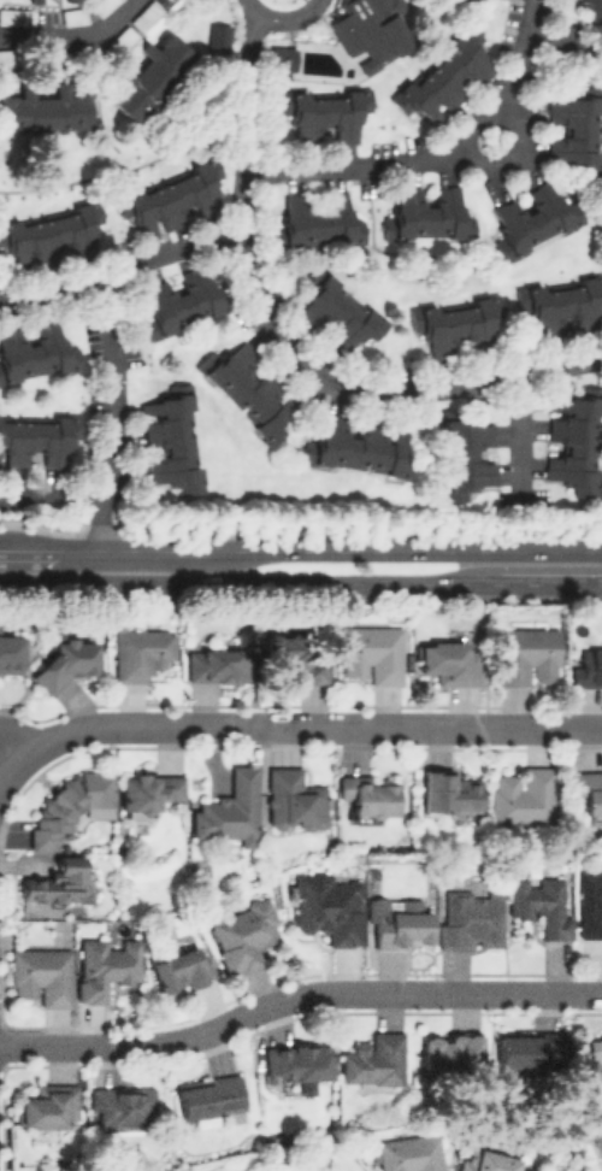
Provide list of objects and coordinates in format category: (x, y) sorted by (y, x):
building: (33, 1)
building: (100, 5)
building: (594, 10)
building: (72, 14)
building: (144, 14)
building: (14, 16)
road: (281, 17)
building: (370, 29)
road: (72, 36)
building: (120, 39)
road: (555, 46)
building: (4, 57)
building: (281, 57)
road: (515, 57)
building: (153, 75)
building: (442, 83)
building: (45, 110)
building: (324, 114)
road: (514, 126)
building: (573, 131)
road: (353, 165)
building: (171, 198)
building: (426, 214)
building: (530, 217)
building: (318, 219)
building: (49, 235)
road: (122, 265)
building: (181, 300)
building: (561, 305)
building: (337, 316)
building: (458, 325)
road: (279, 342)
building: (36, 352)
building: (250, 390)
road: (112, 410)
building: (37, 439)
building: (170, 439)
building: (576, 439)
building: (358, 445)
building: (467, 455)
road: (51, 494)
road: (300, 549)
road: (301, 581)
building: (141, 651)
building: (371, 652)
building: (8, 653)
building: (526, 655)
building: (297, 658)
building: (448, 661)
building: (64, 663)
building: (218, 664)
building: (588, 667)
road: (302, 726)
road: (5, 767)
building: (588, 789)
building: (148, 790)
building: (451, 793)
building: (367, 795)
building: (521, 795)
building: (293, 800)
building: (70, 805)
building: (229, 810)
building: (59, 882)
building: (539, 904)
building: (590, 904)
building: (329, 908)
building: (471, 917)
building: (399, 923)
building: (243, 935)
building: (104, 965)
building: (181, 969)
building: (41, 975)
road: (296, 994)
building: (450, 1049)
building: (527, 1051)
building: (372, 1060)
building: (296, 1063)
building: (597, 1063)
building: (207, 1095)
building: (46, 1105)
building: (122, 1106)
building: (597, 1146)
building: (409, 1153)
building: (484, 1160)

